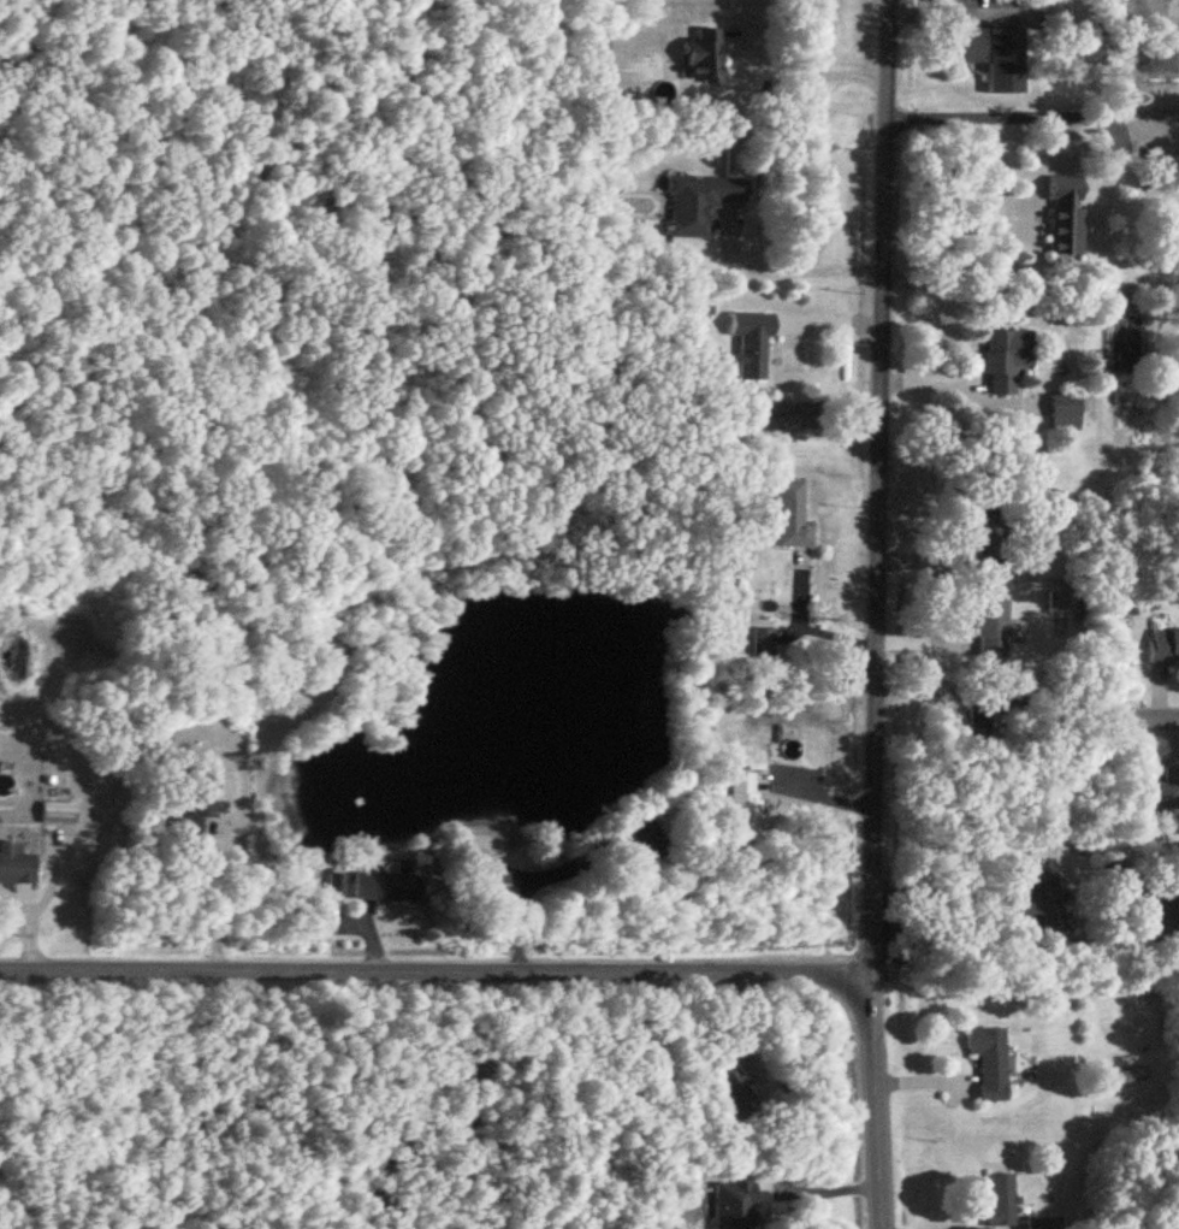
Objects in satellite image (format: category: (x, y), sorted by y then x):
building: (991, 53)
building: (705, 59)
road: (802, 76)
road: (997, 122)
building: (700, 205)
building: (1066, 215)
road: (780, 268)
building: (752, 344)
building: (1007, 360)
building: (1066, 413)
road: (1027, 416)
road: (876, 485)
building: (794, 516)
building: (990, 563)
building: (994, 630)
building: (764, 643)
building: (1165, 648)
road: (1143, 719)
building: (1156, 790)
building: (200, 805)
building: (745, 806)
building: (59, 814)
building: (648, 841)
building: (16, 867)
building: (479, 874)
building: (385, 886)
road: (209, 897)
building: (1047, 905)
road: (436, 970)
building: (991, 1063)
building: (1130, 1076)
building: (739, 1091)
road: (877, 1100)
building: (1002, 1200)
building: (736, 1203)

